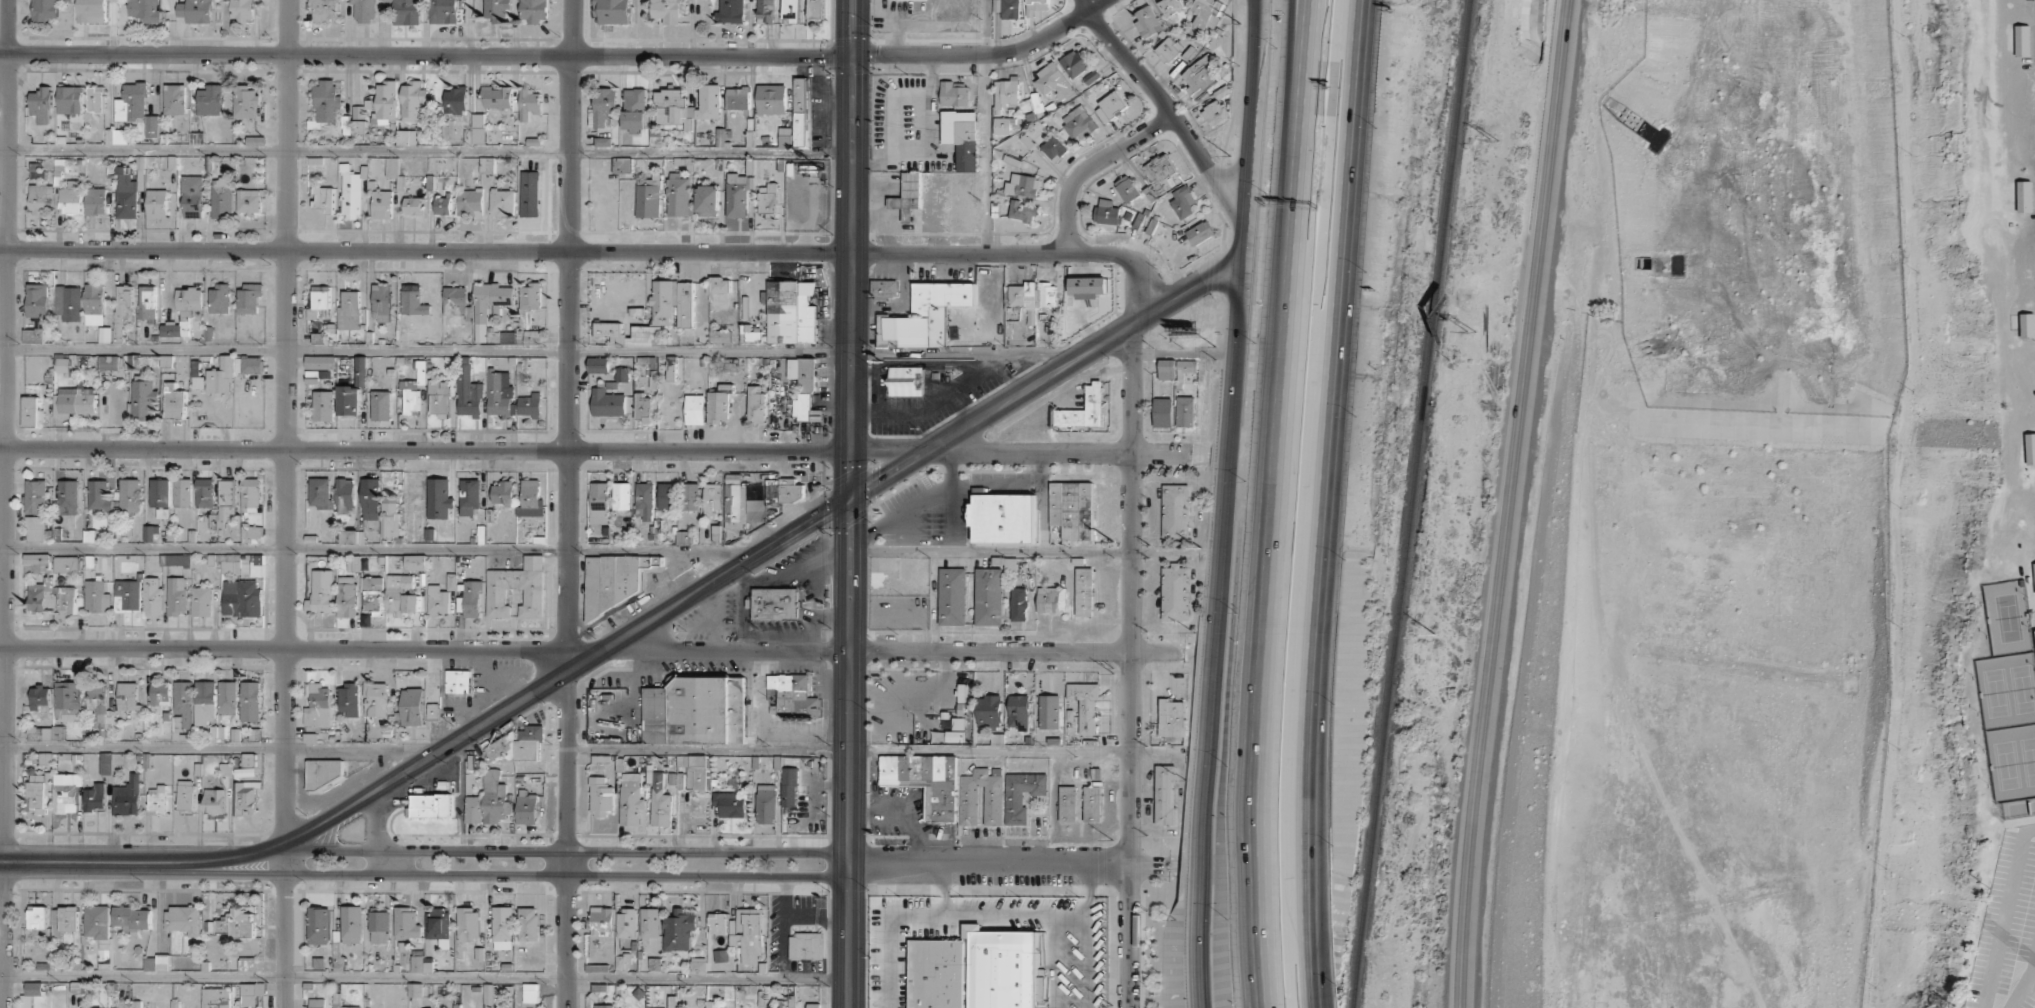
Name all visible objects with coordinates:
building: (1035, 6)
building: (1172, 6)
building: (1007, 8)
building: (44, 9)
building: (144, 9)
building: (242, 10)
building: (325, 10)
building: (364, 10)
building: (534, 10)
building: (790, 10)
building: (815, 10)
building: (91, 11)
building: (196, 11)
building: (443, 11)
building: (498, 11)
building: (666, 11)
building: (730, 11)
building: (765, 11)
building: (407, 12)
building: (613, 12)
building: (1206, 12)
building: (1147, 23)
building: (2022, 40)
building: (1168, 49)
road: (558, 54)
building: (1074, 63)
building: (1091, 77)
building: (1199, 77)
building: (1054, 83)
building: (1006, 92)
building: (954, 93)
road: (1298, 94)
road: (1305, 94)
building: (499, 98)
building: (738, 98)
building: (70, 99)
building: (96, 99)
building: (175, 99)
building: (771, 99)
building: (211, 100)
building: (246, 100)
building: (328, 100)
building: (455, 101)
building: (132, 102)
building: (386, 102)
building: (708, 102)
building: (529, 104)
building: (41, 105)
building: (604, 106)
building: (1110, 107)
building: (673, 108)
building: (635, 109)
road: (1169, 109)
building: (359, 112)
building: (800, 112)
building: (1215, 112)
building: (478, 120)
building: (1078, 123)
building: (1001, 125)
building: (153, 126)
road: (987, 126)
building: (358, 127)
building: (116, 136)
building: (475, 136)
building: (406, 137)
building: (785, 137)
building: (962, 137)
building: (604, 141)
building: (1054, 148)
road: (426, 150)
building: (486, 165)
road: (1092, 165)
building: (391, 167)
building: (1161, 173)
building: (1023, 185)
building: (1127, 189)
building: (128, 192)
building: (530, 194)
building: (678, 195)
building: (737, 195)
building: (192, 196)
building: (351, 196)
building: (909, 196)
building: (2024, 196)
building: (40, 198)
building: (222, 198)
building: (323, 198)
building: (71, 200)
building: (648, 200)
building: (96, 201)
building: (249, 201)
building: (708, 201)
building: (768, 201)
building: (503, 202)
building: (1182, 202)
building: (471, 203)
building: (157, 204)
building: (382, 204)
building: (443, 205)
building: (413, 206)
building: (1022, 211)
building: (1106, 212)
building: (1200, 233)
road: (596, 250)
building: (720, 285)
building: (1087, 286)
building: (884, 288)
building: (1033, 295)
building: (531, 296)
building: (249, 297)
building: (38, 299)
building: (219, 299)
building: (318, 300)
building: (413, 300)
building: (455, 301)
building: (663, 301)
building: (69, 302)
building: (381, 302)
building: (147, 303)
building: (95, 304)
building: (489, 304)
building: (684, 304)
building: (349, 311)
building: (183, 312)
building: (791, 312)
building: (924, 316)
building: (2027, 325)
building: (610, 332)
building: (749, 334)
building: (33, 335)
building: (646, 336)
building: (720, 337)
road: (544, 351)
building: (109, 362)
building: (319, 362)
building: (62, 364)
building: (251, 364)
building: (598, 365)
building: (671, 368)
building: (1185, 368)
building: (1166, 369)
building: (622, 374)
building: (221, 377)
building: (904, 382)
building: (199, 383)
building: (804, 388)
building: (353, 390)
building: (500, 394)
building: (410, 396)
building: (438, 398)
building: (144, 400)
building: (75, 401)
building: (174, 401)
building: (607, 401)
building: (756, 404)
building: (323, 405)
building: (381, 405)
building: (530, 405)
building: (718, 406)
building: (643, 407)
building: (695, 409)
building: (1081, 410)
building: (1185, 411)
building: (31, 412)
building: (1162, 412)
road: (1327, 431)
building: (2030, 448)
road: (596, 450)
building: (790, 490)
building: (160, 492)
building: (205, 492)
building: (183, 493)
building: (321, 493)
building: (503, 493)
building: (99, 495)
building: (129, 495)
building: (251, 495)
building: (36, 496)
building: (345, 496)
building: (470, 496)
building: (622, 496)
building: (668, 496)
building: (690, 496)
building: (68, 497)
building: (439, 498)
building: (370, 499)
building: (531, 499)
building: (712, 499)
building: (645, 500)
road: (568, 503)
building: (599, 503)
building: (735, 503)
road: (1224, 503)
road: (1507, 503)
road: (3, 504)
road: (286, 504)
road: (851, 504)
railway: (1409, 504)
building: (229, 506)
building: (1072, 509)
building: (1175, 511)
building: (390, 517)
building: (1003, 518)
building: (35, 528)
building: (151, 533)
building: (251, 534)
building: (352, 536)
building: (684, 538)
road: (379, 550)
road: (763, 551)
road: (991, 551)
building: (178, 560)
building: (415, 562)
building: (38, 563)
building: (230, 563)
building: (66, 564)
building: (1010, 564)
building: (256, 566)
building: (2034, 575)
building: (617, 579)
building: (517, 588)
building: (1083, 591)
building: (321, 592)
building: (1175, 592)
building: (372, 594)
building: (401, 595)
building: (127, 596)
building: (177, 596)
building: (346, 596)
building: (952, 596)
building: (989, 596)
building: (96, 597)
building: (153, 597)
building: (242, 598)
road: (1267, 598)
building: (471, 599)
building: (437, 600)
building: (1051, 600)
building: (66, 601)
building: (202, 601)
building: (776, 604)
building: (1018, 604)
road: (288, 649)
road: (905, 651)
road: (1131, 666)
building: (458, 681)
building: (160, 694)
building: (128, 696)
building: (39, 697)
building: (68, 697)
building: (227, 697)
building: (792, 697)
building: (349, 699)
building: (375, 699)
building: (250, 701)
building: (205, 702)
building: (1084, 704)
building: (318, 706)
building: (412, 707)
building: (101, 709)
building: (988, 710)
building: (433, 711)
building: (696, 711)
building: (1018, 711)
building: (1049, 712)
building: (1171, 717)
building: (39, 733)
building: (217, 733)
building: (233, 735)
building: (997, 739)
building: (518, 746)
road: (221, 747)
road: (850, 749)
building: (118, 758)
building: (105, 763)
building: (225, 769)
building: (325, 772)
building: (692, 772)
building: (925, 781)
building: (789, 787)
building: (39, 791)
building: (66, 792)
building: (186, 795)
building: (1021, 795)
building: (1164, 795)
building: (127, 796)
building: (95, 797)
building: (246, 797)
building: (495, 797)
building: (601, 797)
building: (157, 799)
building: (631, 799)
building: (214, 801)
building: (660, 802)
building: (766, 803)
building: (1067, 803)
building: (1091, 803)
building: (729, 804)
building: (993, 805)
building: (432, 806)
building: (527, 807)
building: (473, 809)
road: (567, 850)
road: (143, 861)
road: (1008, 864)
road: (524, 875)
road: (940, 889)
road: (1088, 895)
road: (985, 915)
building: (69, 918)
building: (133, 918)
building: (183, 919)
building: (97, 921)
building: (602, 921)
building: (627, 922)
building: (352, 923)
building: (407, 923)
building: (650, 923)
road: (1309, 923)
road: (1315, 923)
building: (238, 924)
building: (528, 924)
building: (319, 925)
building: (468, 925)
building: (718, 925)
building: (379, 927)
building: (502, 927)
building: (679, 931)
building: (747, 934)
building: (805, 946)
building: (721, 956)
building: (157, 962)
building: (246, 963)
building: (421, 963)
building: (599, 964)
building: (698, 965)
building: (975, 970)
road: (423, 978)
building: (415, 990)
building: (31, 993)
building: (251, 993)
building: (488, 993)
building: (530, 993)
road: (1312, 995)
road: (1325, 995)
building: (215, 998)
building: (672, 1001)
building: (316, 1003)
building: (967, 1004)
building: (779, 1005)
building: (813, 1005)
building: (346, 1006)
building: (602, 1006)
building: (90, 1007)

